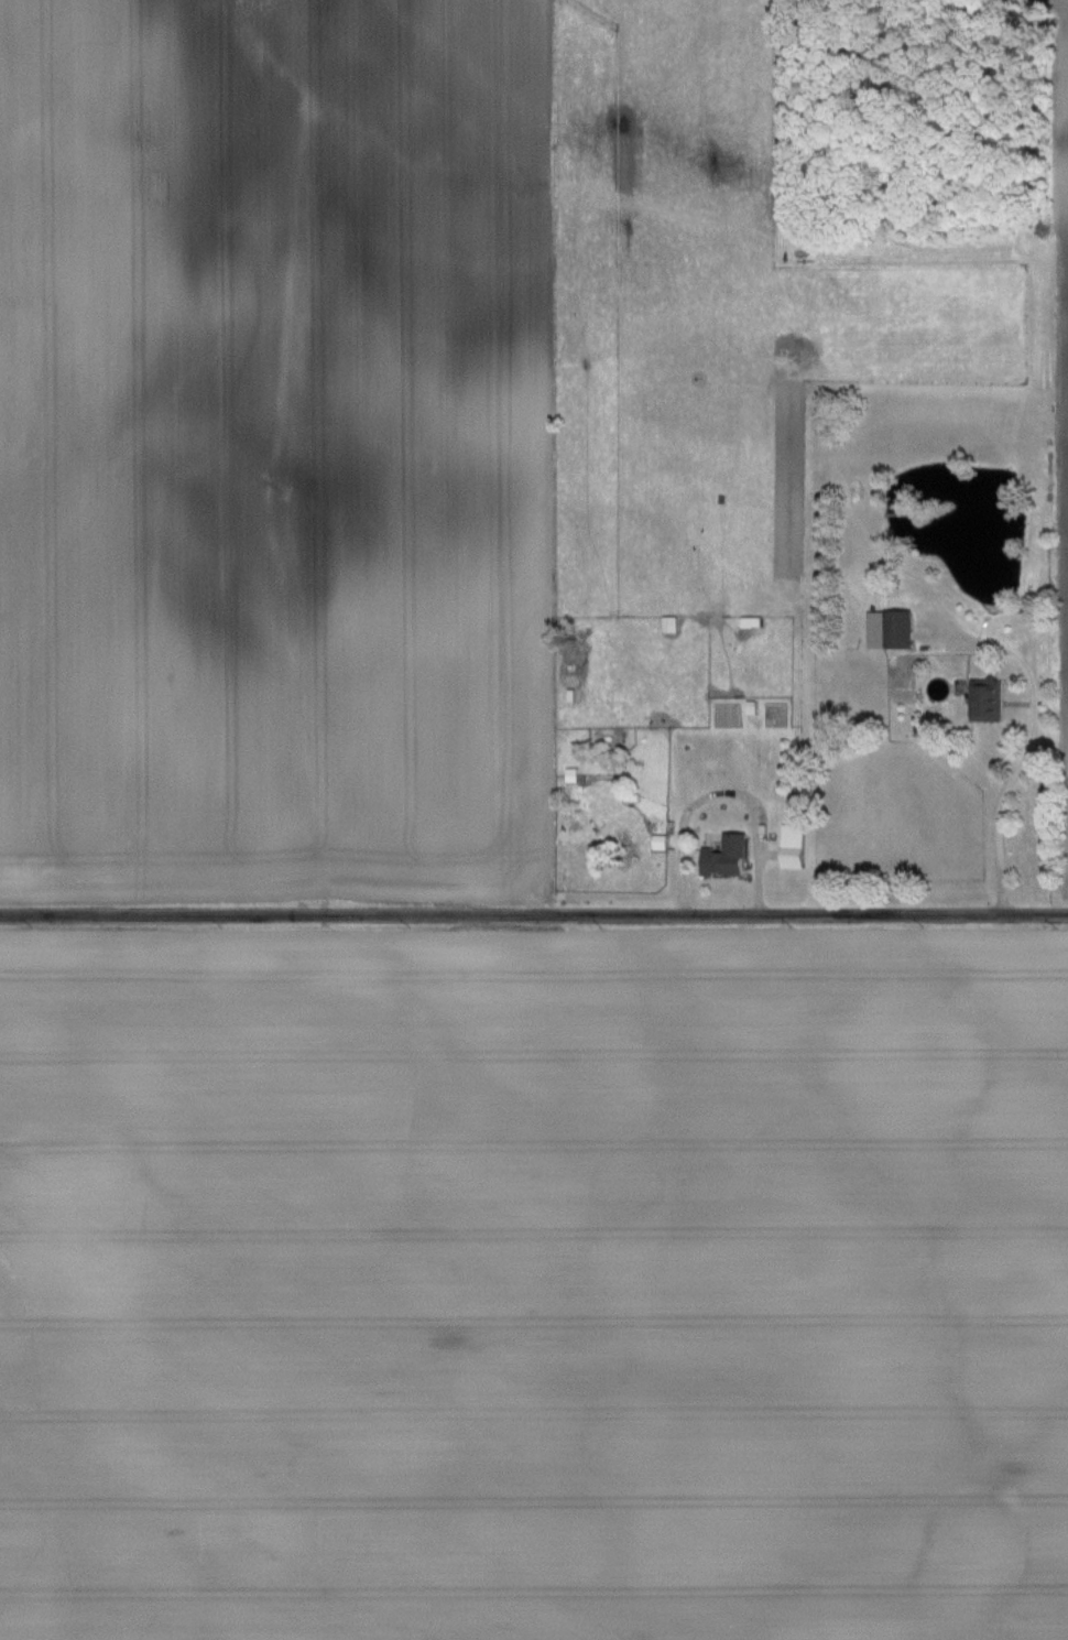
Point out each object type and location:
building: (891, 631)
building: (989, 700)
road: (999, 806)
building: (794, 855)
building: (728, 857)
road: (534, 916)

